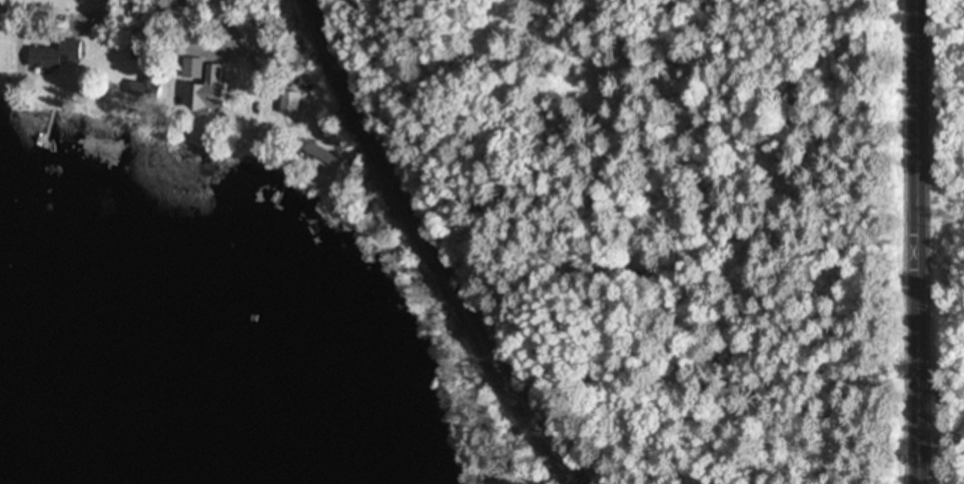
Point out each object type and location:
road: (169, 12)
road: (216, 24)
park: (153, 29)
building: (51, 57)
building: (199, 86)
building: (287, 105)
building: (253, 134)
building: (317, 156)
road: (916, 242)
railway: (431, 248)

